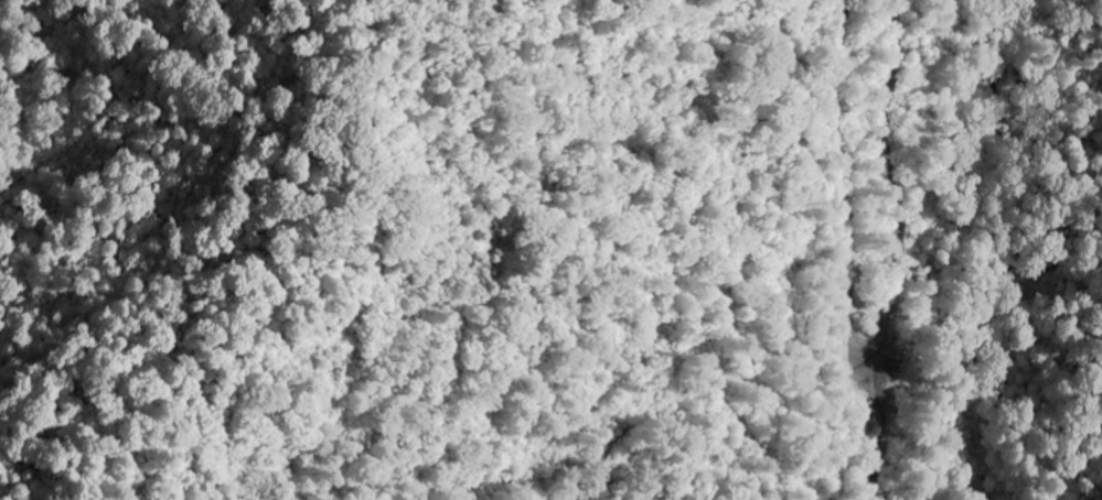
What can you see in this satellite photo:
road: (878, 252)
road: (1099, 481)

